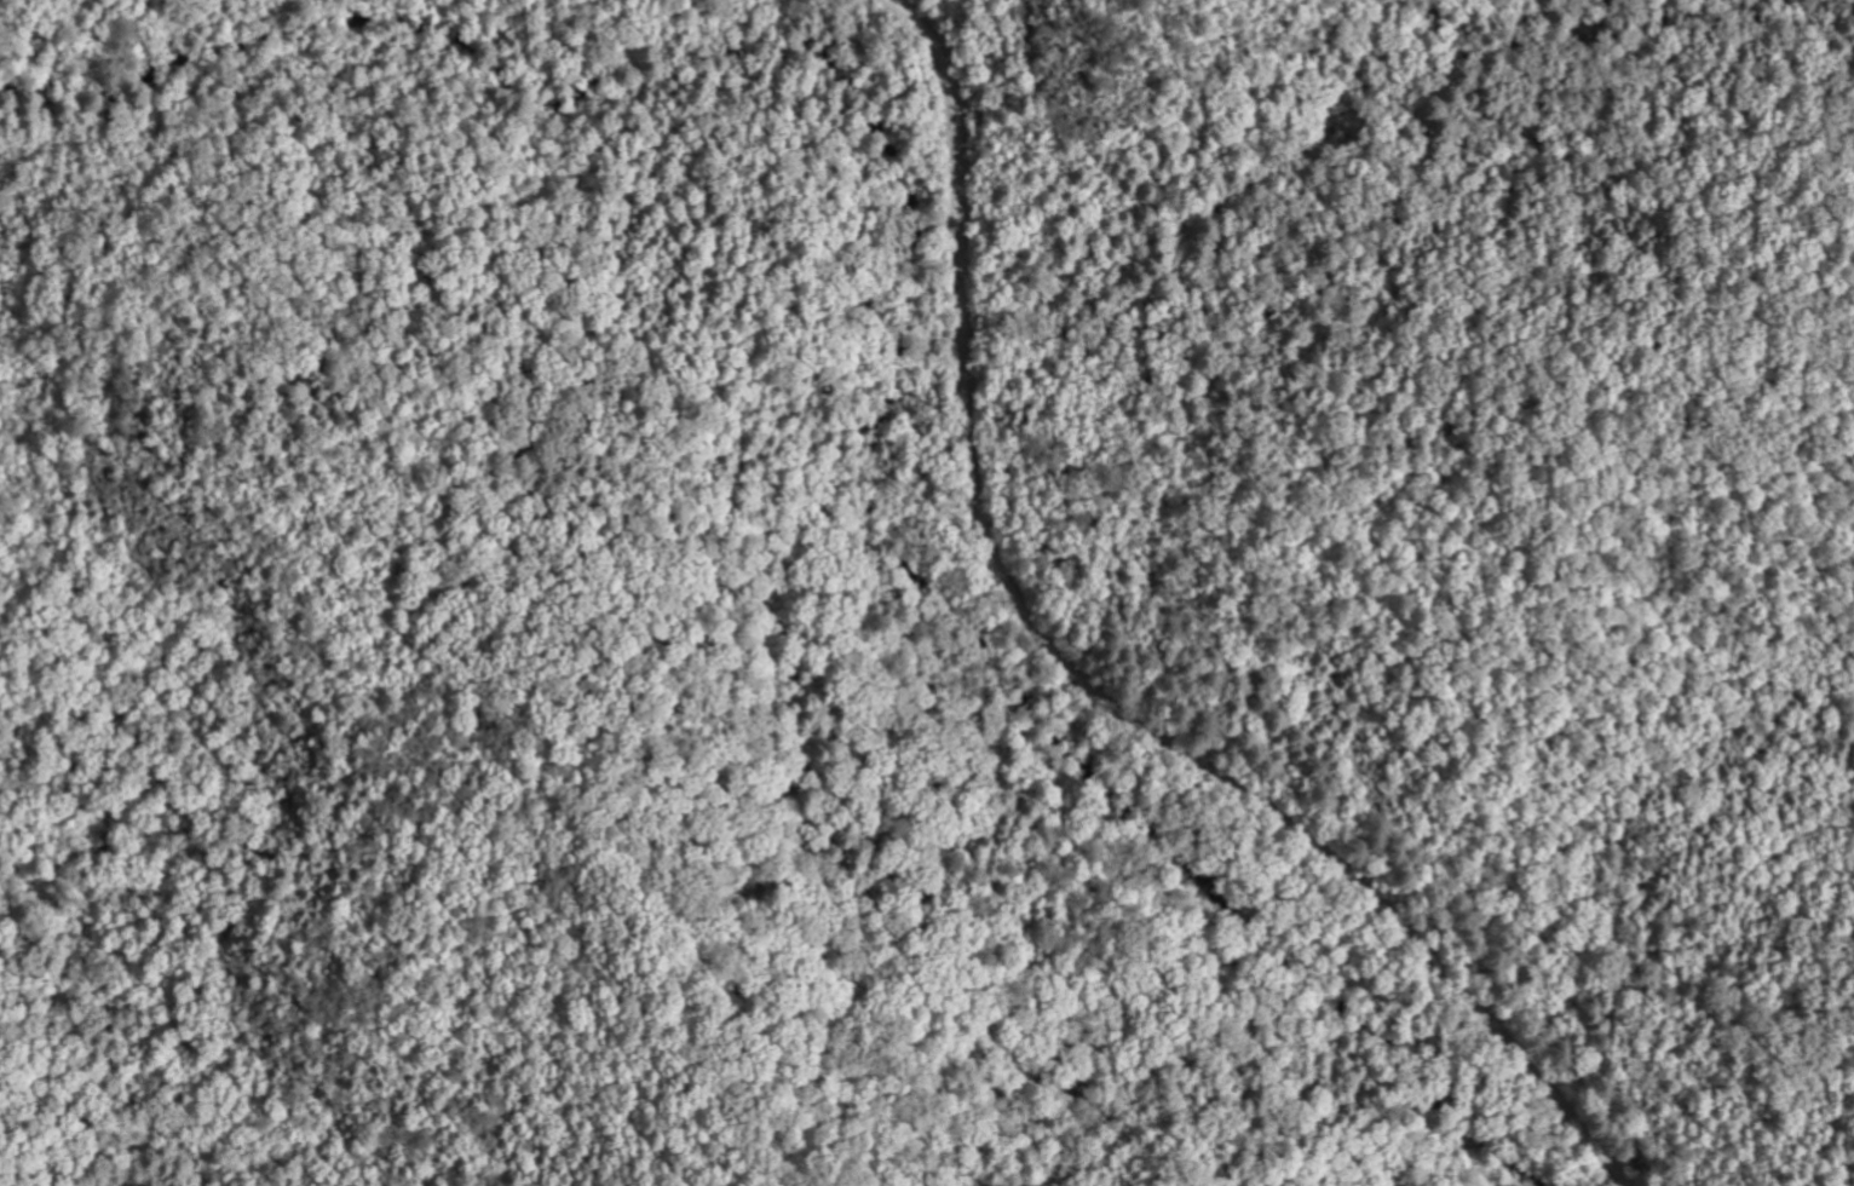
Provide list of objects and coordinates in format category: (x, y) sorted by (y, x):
road: (859, 353)
road: (1090, 679)

